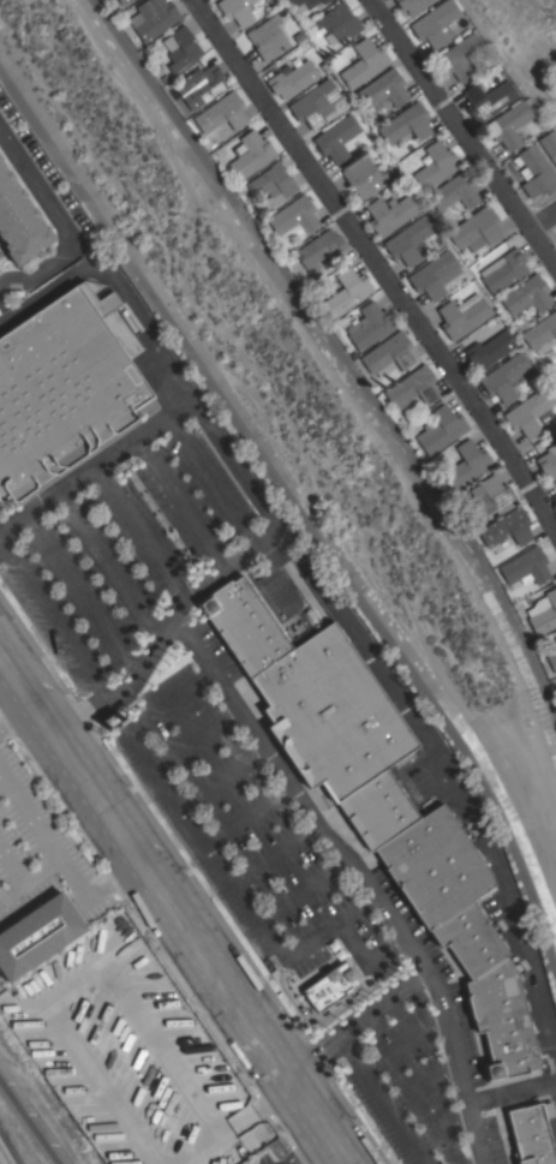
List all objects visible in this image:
building: (124, 1)
building: (305, 4)
building: (413, 5)
building: (237, 11)
building: (153, 18)
building: (339, 22)
building: (437, 23)
building: (268, 38)
building: (181, 48)
building: (461, 55)
building: (364, 64)
building: (292, 79)
building: (199, 85)
building: (384, 89)
building: (489, 99)
building: (316, 103)
building: (222, 114)
building: (407, 124)
building: (509, 124)
road: (464, 131)
building: (337, 138)
building: (549, 143)
building: (252, 154)
building: (0, 156)
building: (437, 165)
building: (536, 171)
building: (366, 177)
building: (273, 184)
building: (455, 191)
building: (391, 213)
building: (294, 216)
building: (20, 221)
road: (58, 221)
road: (544, 222)
building: (477, 229)
building: (411, 240)
building: (319, 250)
building: (0, 253)
road: (377, 263)
building: (503, 270)
building: (435, 274)
building: (348, 291)
road: (50, 294)
building: (526, 297)
building: (464, 315)
building: (369, 326)
building: (540, 333)
building: (489, 348)
building: (388, 354)
building: (504, 377)
building: (555, 380)
building: (413, 386)
building: (61, 388)
building: (531, 412)
building: (440, 429)
building: (555, 447)
building: (466, 464)
building: (548, 464)
road: (95, 466)
building: (488, 499)
building: (507, 527)
parking lot: (124, 555)
building: (526, 566)
building: (545, 615)
building: (244, 625)
road: (166, 629)
building: (555, 639)
road: (364, 653)
building: (551, 661)
road: (18, 717)
building: (339, 730)
road: (196, 738)
road: (222, 776)
road: (249, 814)
parking lot: (28, 822)
parking lot: (244, 830)
road: (208, 847)
road: (276, 854)
road: (59, 855)
road: (359, 877)
road: (303, 890)
road: (173, 908)
building: (462, 932)
building: (53, 939)
road: (363, 961)
building: (331, 986)
road: (384, 999)
road: (317, 1017)
road: (402, 1041)
road: (312, 1050)
parking lot: (397, 1072)
road: (422, 1085)
road: (513, 1093)
road: (379, 1098)
road: (29, 1122)
road: (441, 1128)
building: (531, 1133)
road: (311, 1152)

